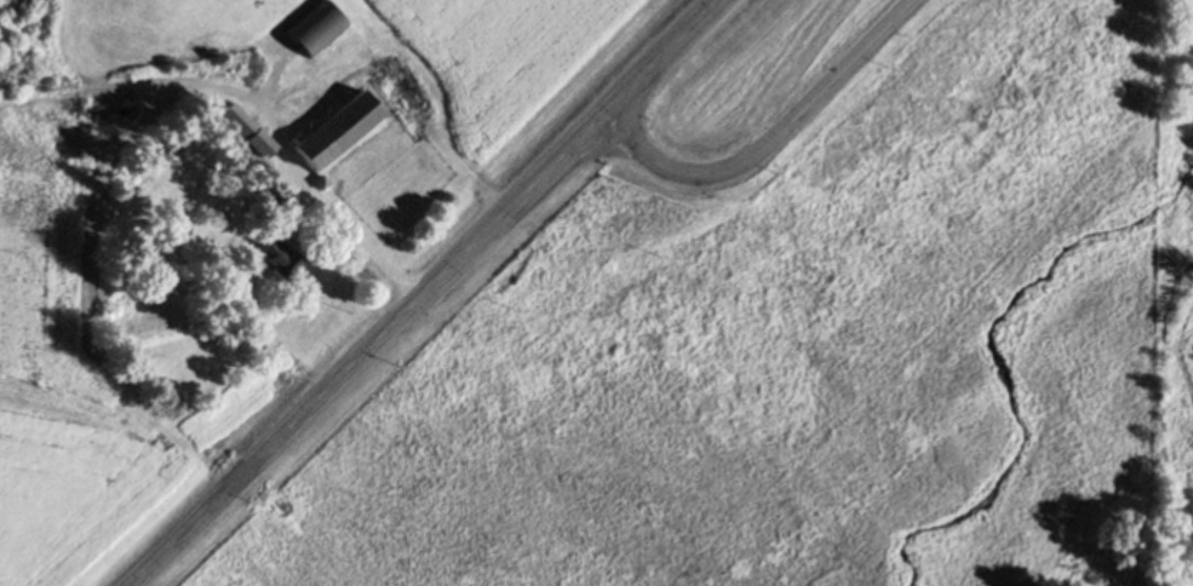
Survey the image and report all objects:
building: (314, 28)
building: (246, 131)
building: (335, 132)
road: (770, 140)
building: (320, 182)
road: (323, 208)
building: (282, 259)
road: (423, 293)

